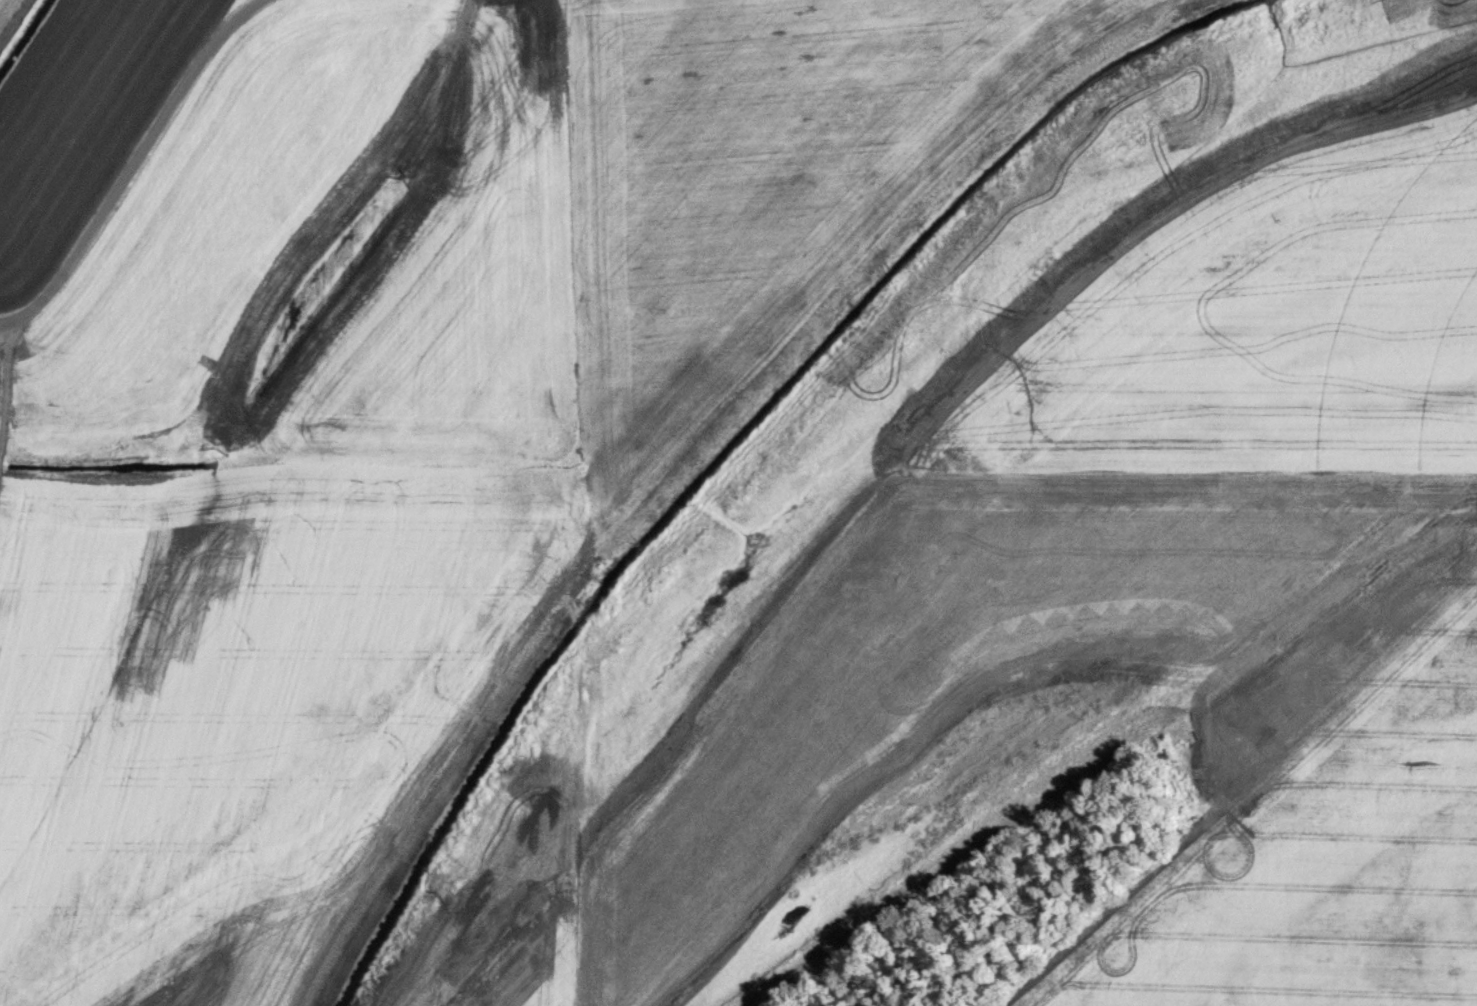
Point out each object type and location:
road: (132, 164)

